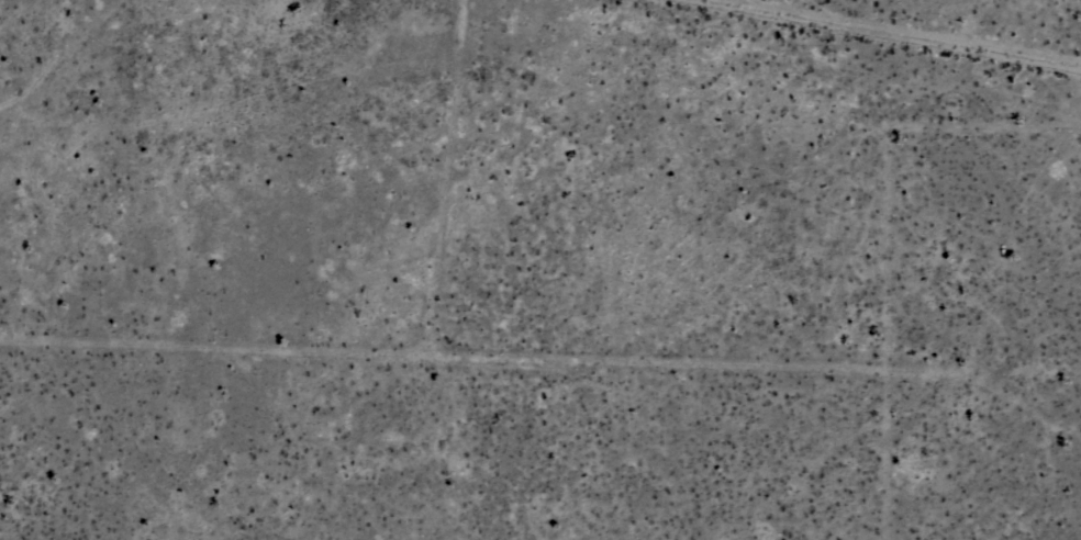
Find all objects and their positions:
road: (894, 33)

